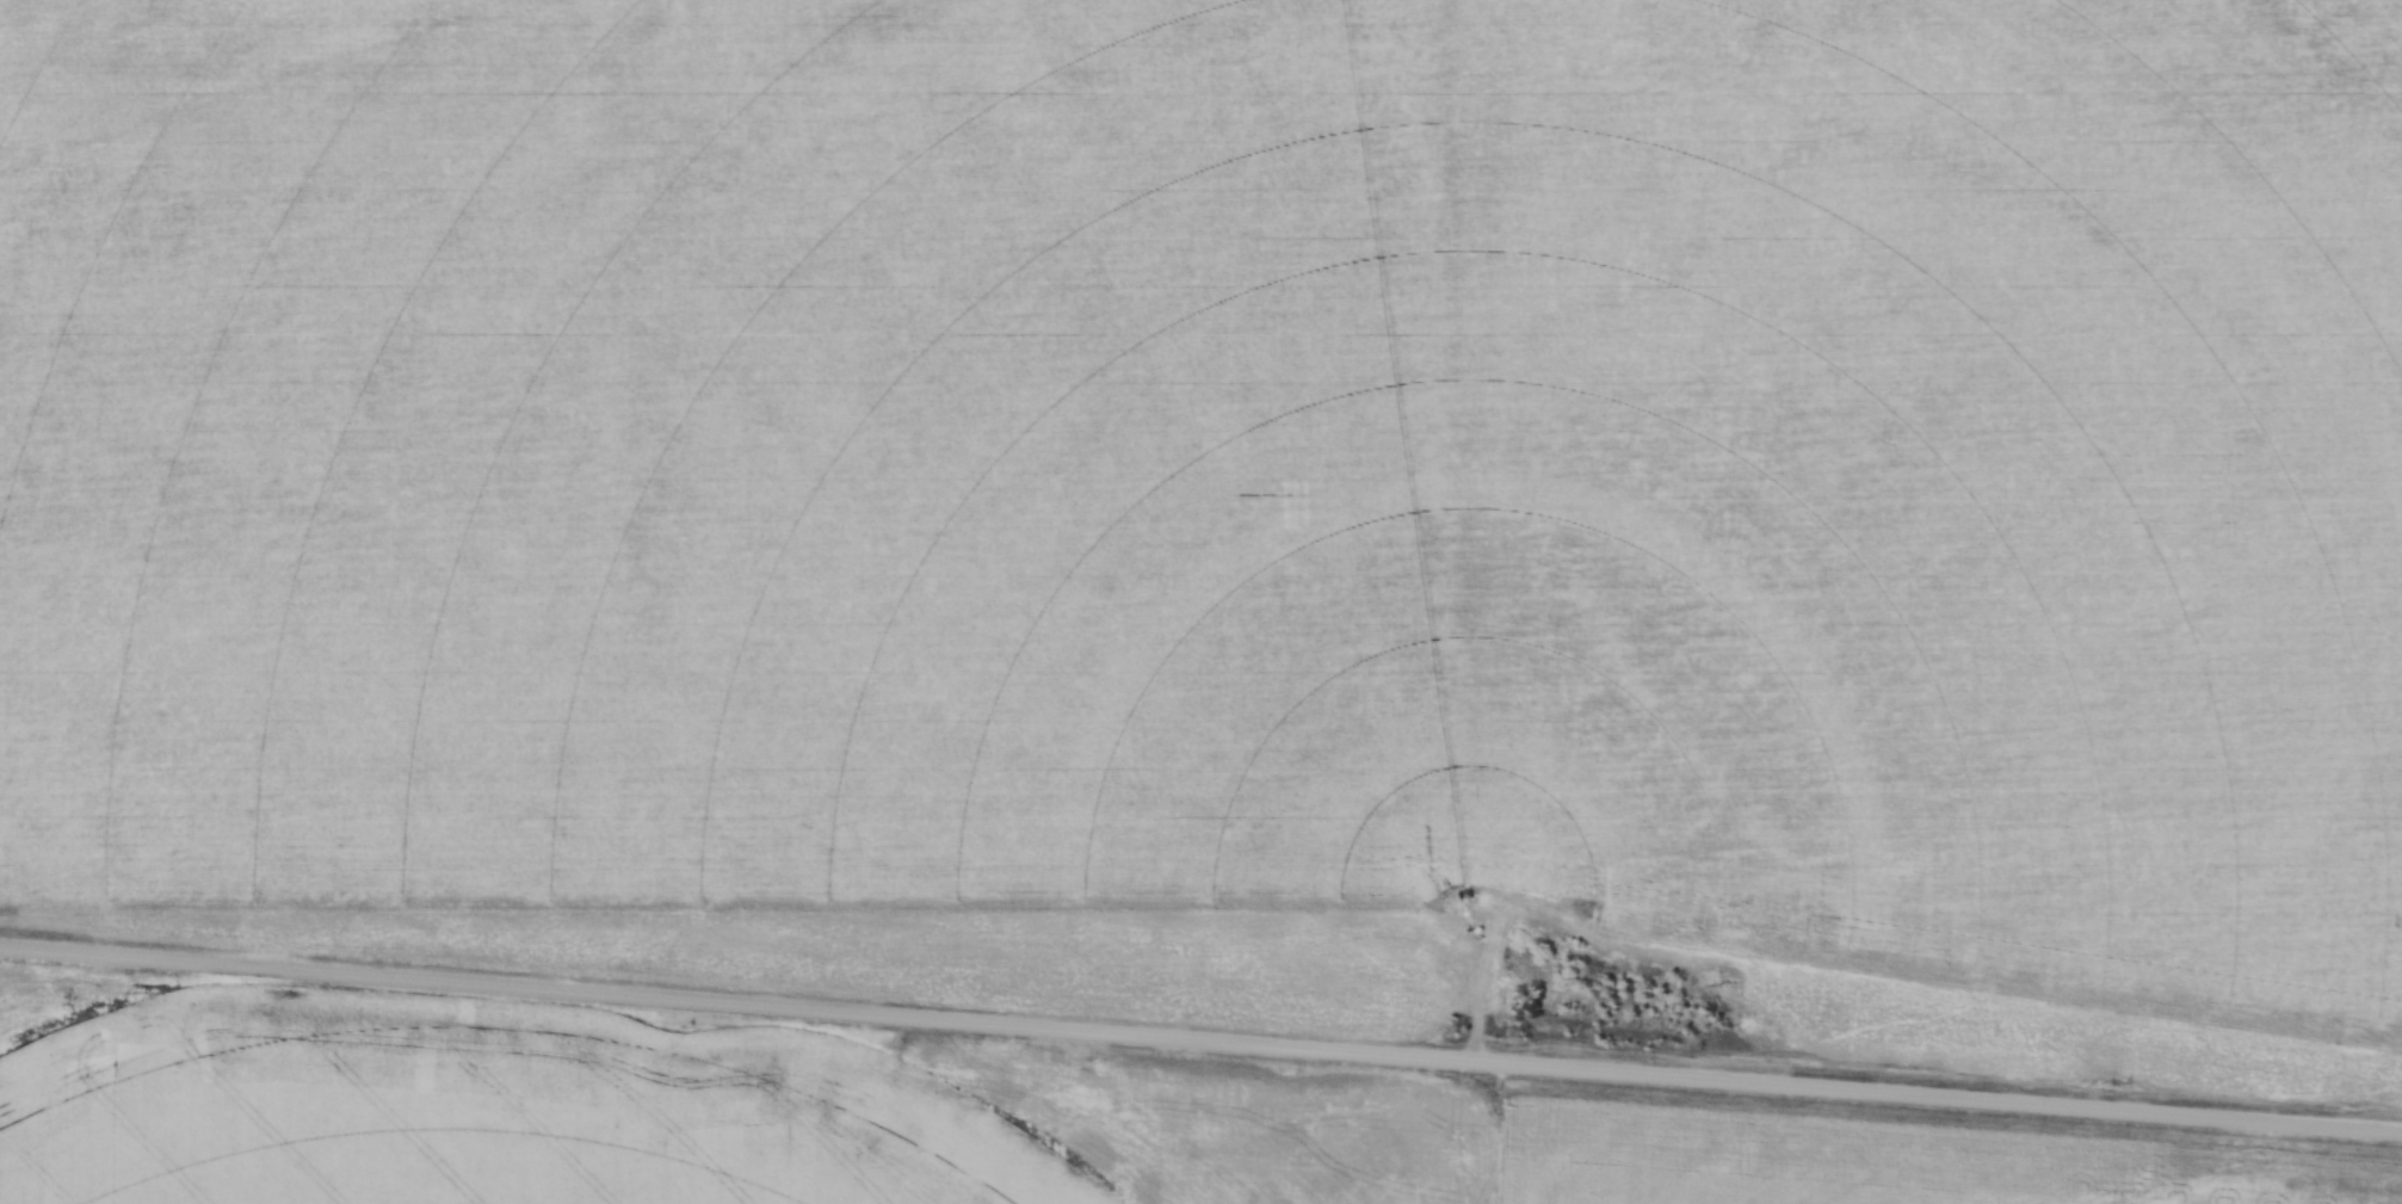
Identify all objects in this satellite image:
road: (1200, 1041)

